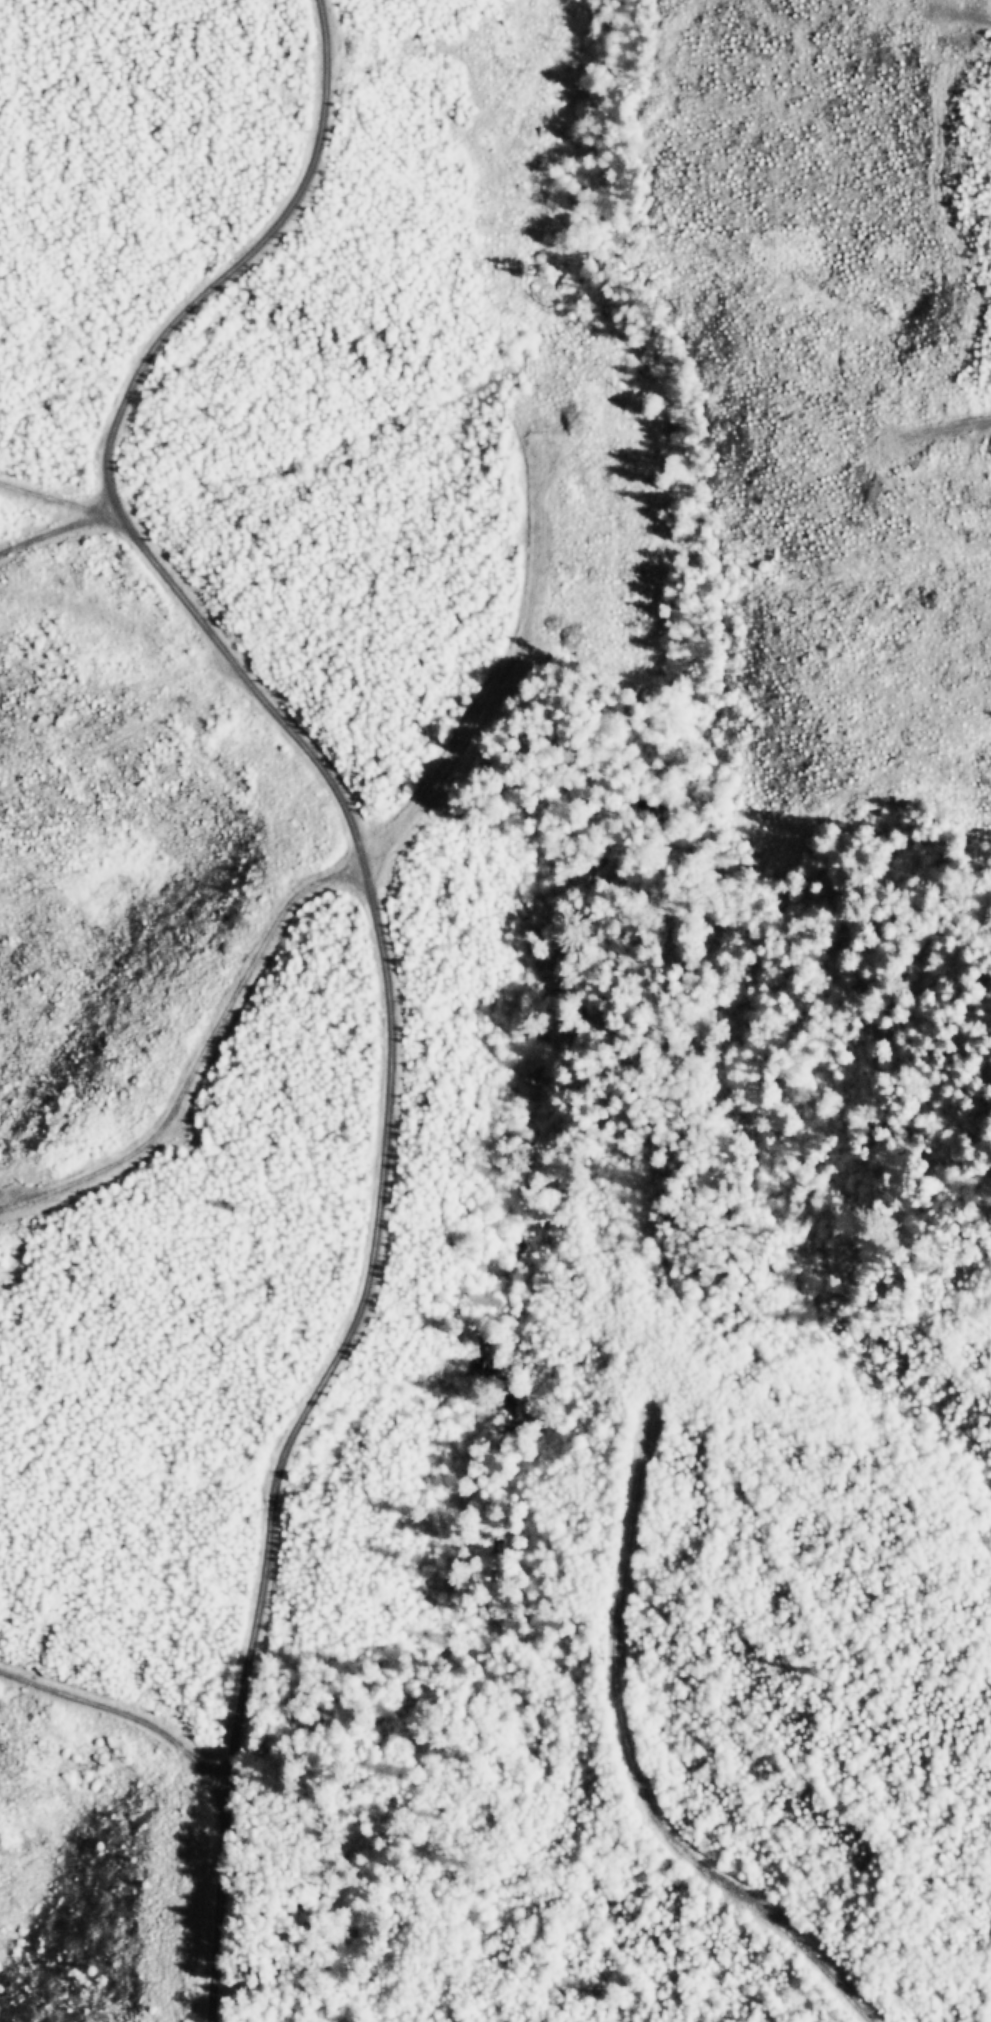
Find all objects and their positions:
road: (377, 928)
road: (123, 1677)
road: (636, 1800)

